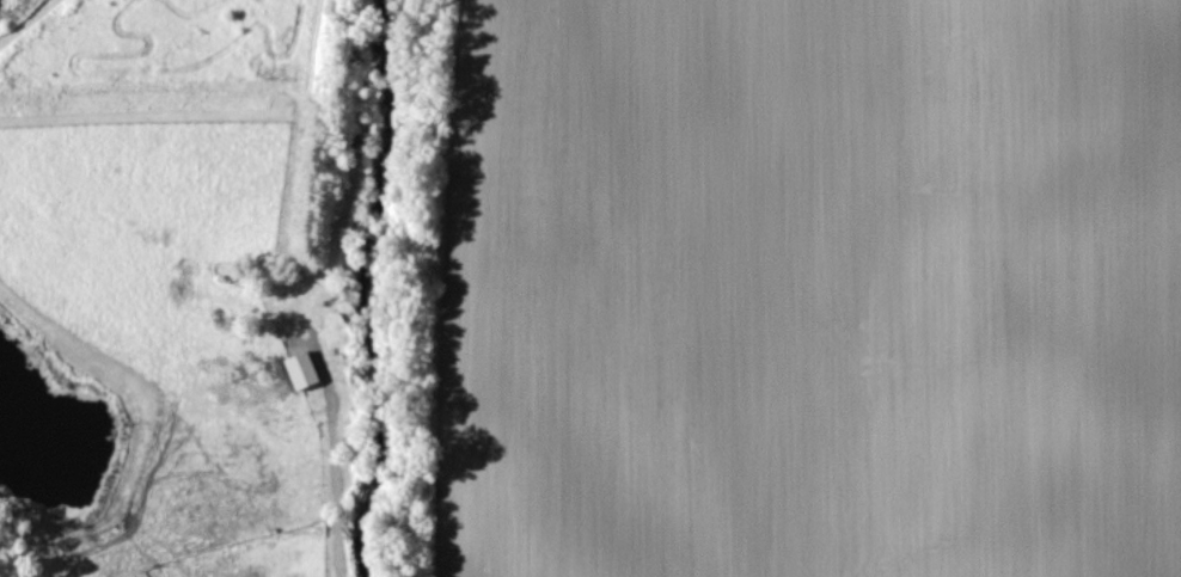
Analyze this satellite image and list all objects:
building: (300, 370)

